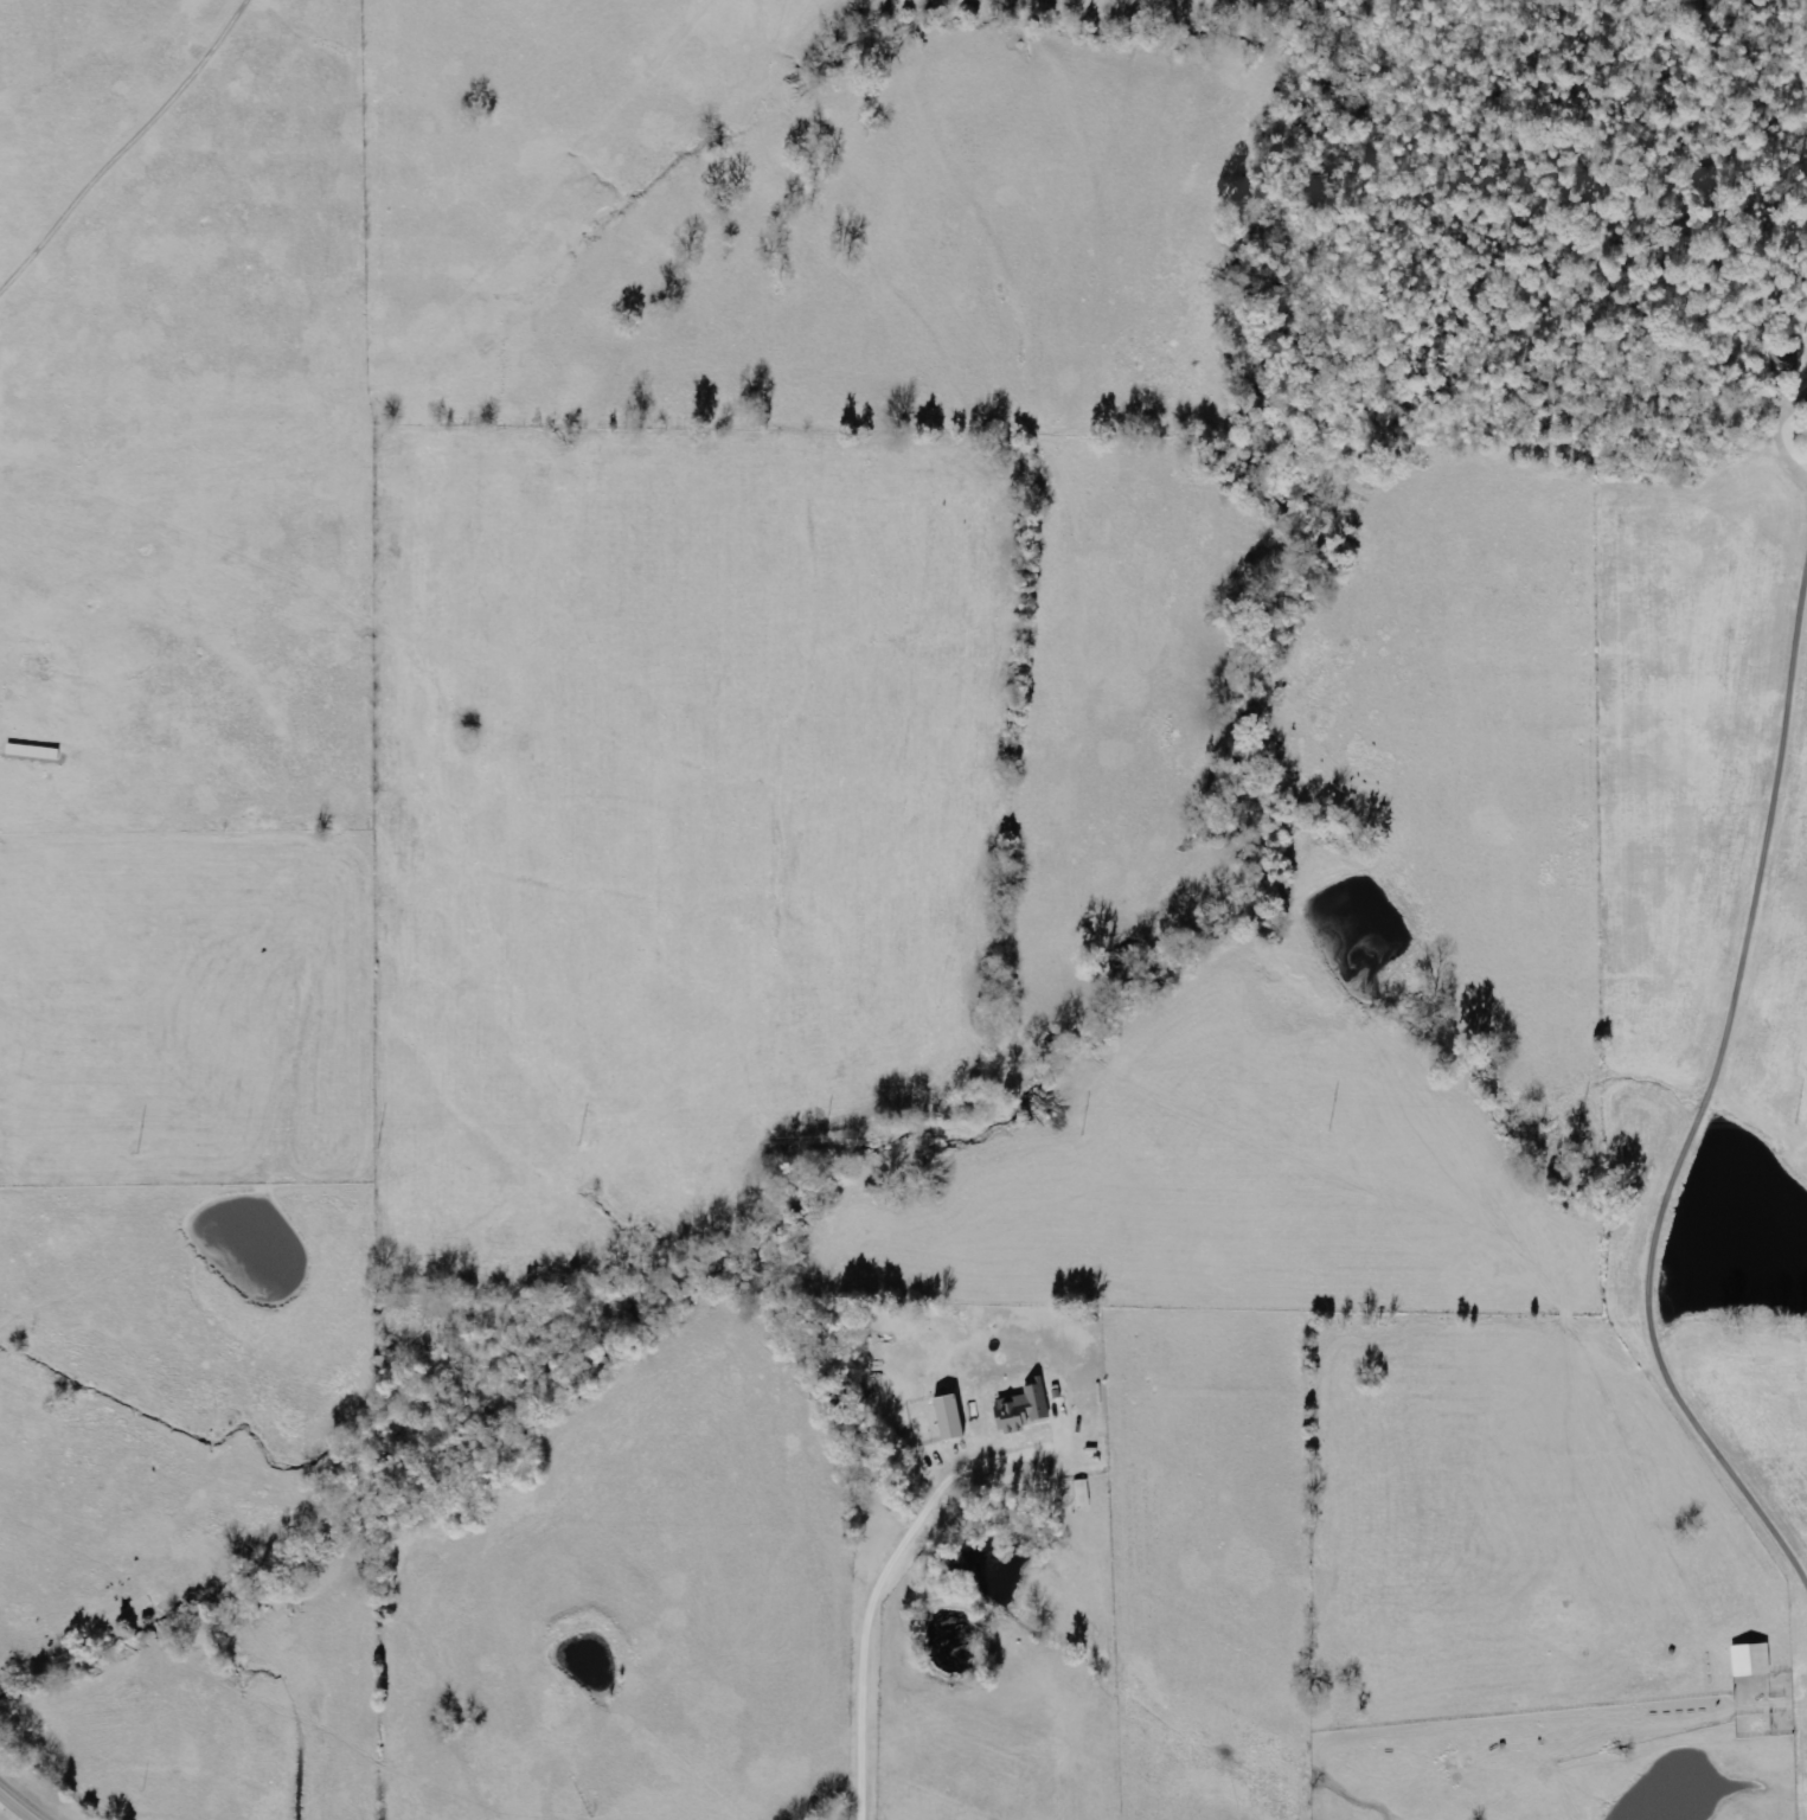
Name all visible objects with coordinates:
building: (1024, 1409)
building: (950, 1418)
building: (1083, 1493)
building: (1751, 1659)
road: (18, 1805)

